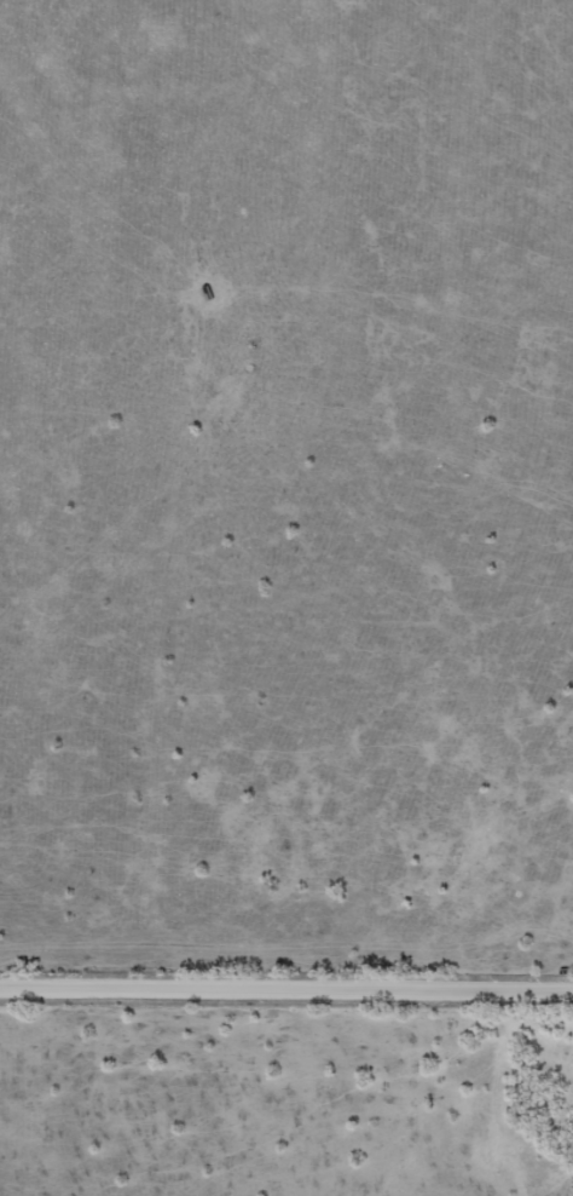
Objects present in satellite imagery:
road: (286, 967)

